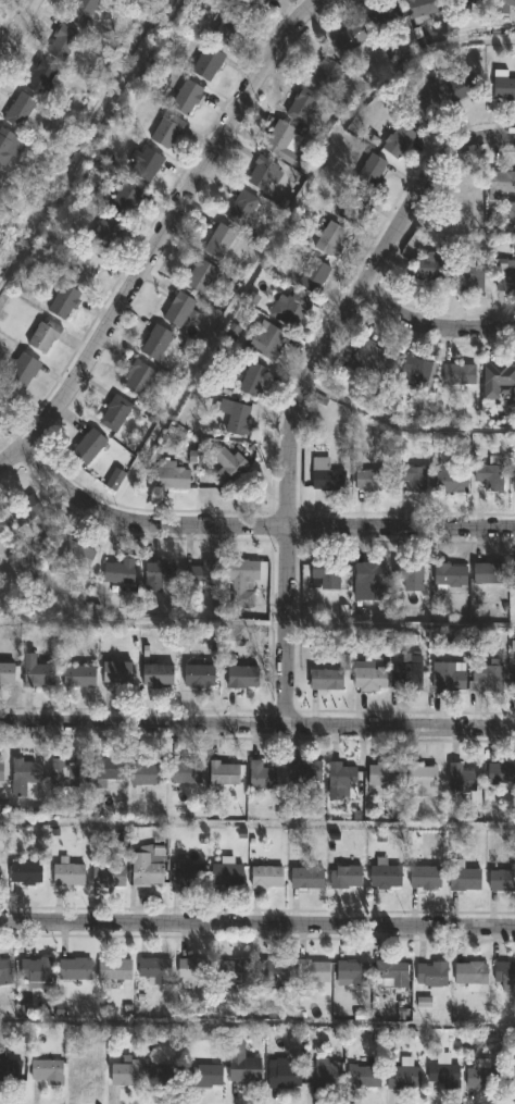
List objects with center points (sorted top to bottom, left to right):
building: (467, 2)
building: (250, 4)
building: (504, 7)
building: (423, 8)
building: (83, 11)
building: (386, 18)
road: (15, 28)
building: (226, 30)
building: (350, 39)
building: (62, 44)
building: (206, 63)
building: (325, 75)
building: (40, 77)
building: (460, 89)
building: (504, 89)
building: (187, 98)
building: (426, 104)
building: (301, 106)
building: (20, 111)
building: (166, 132)
building: (278, 139)
building: (398, 141)
building: (9, 148)
building: (146, 166)
building: (370, 173)
building: (263, 174)
building: (501, 184)
building: (125, 200)
building: (469, 202)
building: (354, 208)
building: (241, 209)
building: (511, 212)
road: (460, 230)
road: (277, 232)
building: (105, 234)
road: (162, 236)
building: (329, 240)
building: (219, 243)
building: (84, 268)
building: (430, 268)
building: (200, 276)
building: (313, 276)
building: (505, 277)
building: (469, 278)
building: (64, 302)
building: (178, 310)
building: (290, 310)
road: (431, 325)
building: (43, 337)
building: (267, 342)
building: (156, 344)
building: (367, 358)
building: (22, 372)
building: (414, 374)
building: (459, 375)
building: (138, 379)
building: (498, 380)
building: (254, 381)
road: (302, 383)
building: (3, 401)
building: (115, 414)
building: (234, 415)
road: (404, 425)
building: (88, 447)
building: (228, 467)
building: (326, 476)
building: (411, 477)
building: (451, 477)
building: (489, 477)
building: (173, 479)
building: (114, 481)
building: (372, 481)
building: (25, 511)
road: (256, 526)
building: (77, 554)
building: (118, 573)
building: (489, 574)
building: (160, 575)
building: (200, 575)
building: (325, 576)
building: (410, 576)
building: (450, 578)
building: (241, 581)
building: (369, 582)
road: (141, 617)
road: (399, 623)
building: (37, 673)
building: (7, 674)
building: (116, 674)
building: (407, 677)
building: (78, 678)
building: (158, 678)
building: (199, 678)
building: (242, 678)
building: (447, 678)
building: (485, 678)
building: (369, 679)
building: (325, 681)
building: (513, 683)
road: (256, 724)
building: (1, 771)
building: (106, 772)
building: (305, 772)
building: (143, 773)
building: (185, 774)
building: (224, 774)
building: (501, 774)
building: (63, 776)
building: (384, 776)
building: (24, 777)
building: (261, 777)
building: (341, 780)
building: (461, 780)
building: (422, 782)
road: (256, 824)
building: (148, 868)
building: (25, 874)
building: (187, 874)
building: (68, 877)
building: (109, 877)
building: (227, 877)
building: (346, 878)
building: (385, 878)
building: (266, 879)
building: (306, 879)
building: (425, 879)
building: (502, 880)
building: (465, 881)
road: (256, 923)
building: (35, 971)
building: (75, 971)
building: (114, 971)
building: (154, 972)
building: (273, 972)
building: (313, 972)
building: (5, 973)
building: (193, 973)
building: (233, 973)
building: (353, 973)
building: (391, 973)
building: (470, 973)
building: (504, 973)
building: (431, 975)
road: (256, 1020)
building: (242, 1067)
building: (9, 1069)
building: (46, 1072)
building: (87, 1075)
building: (126, 1075)
building: (325, 1076)
building: (165, 1077)
building: (404, 1077)
building: (443, 1077)
building: (205, 1078)
building: (284, 1078)
building: (511, 1078)
building: (363, 1079)
building: (480, 1080)

